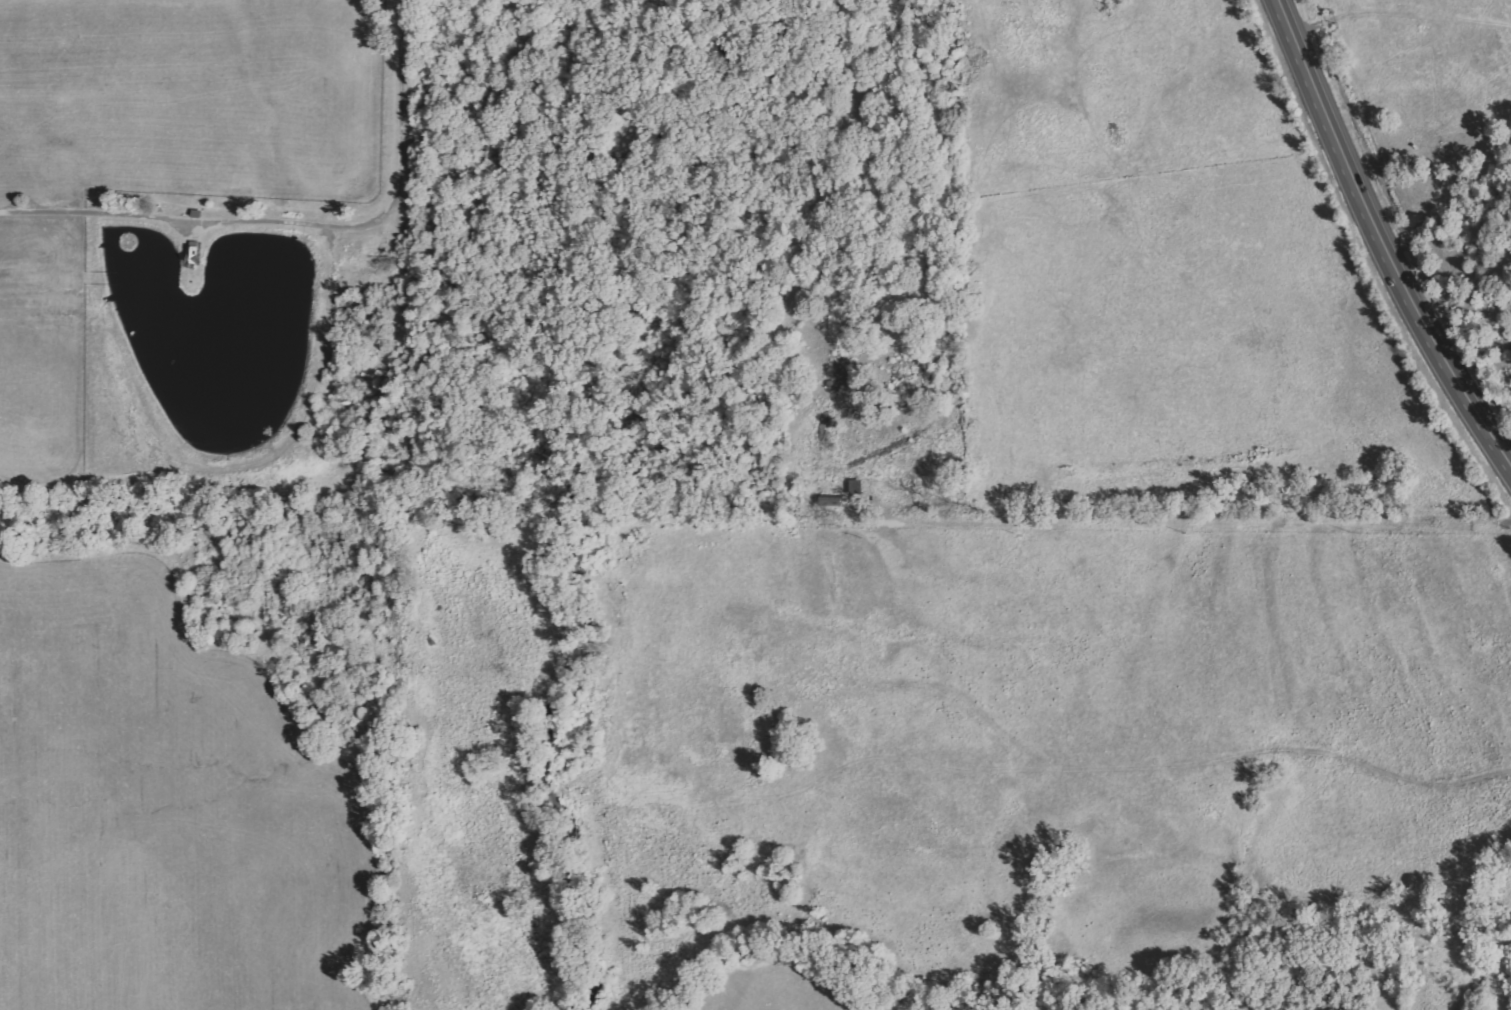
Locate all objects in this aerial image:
road: (1386, 233)

